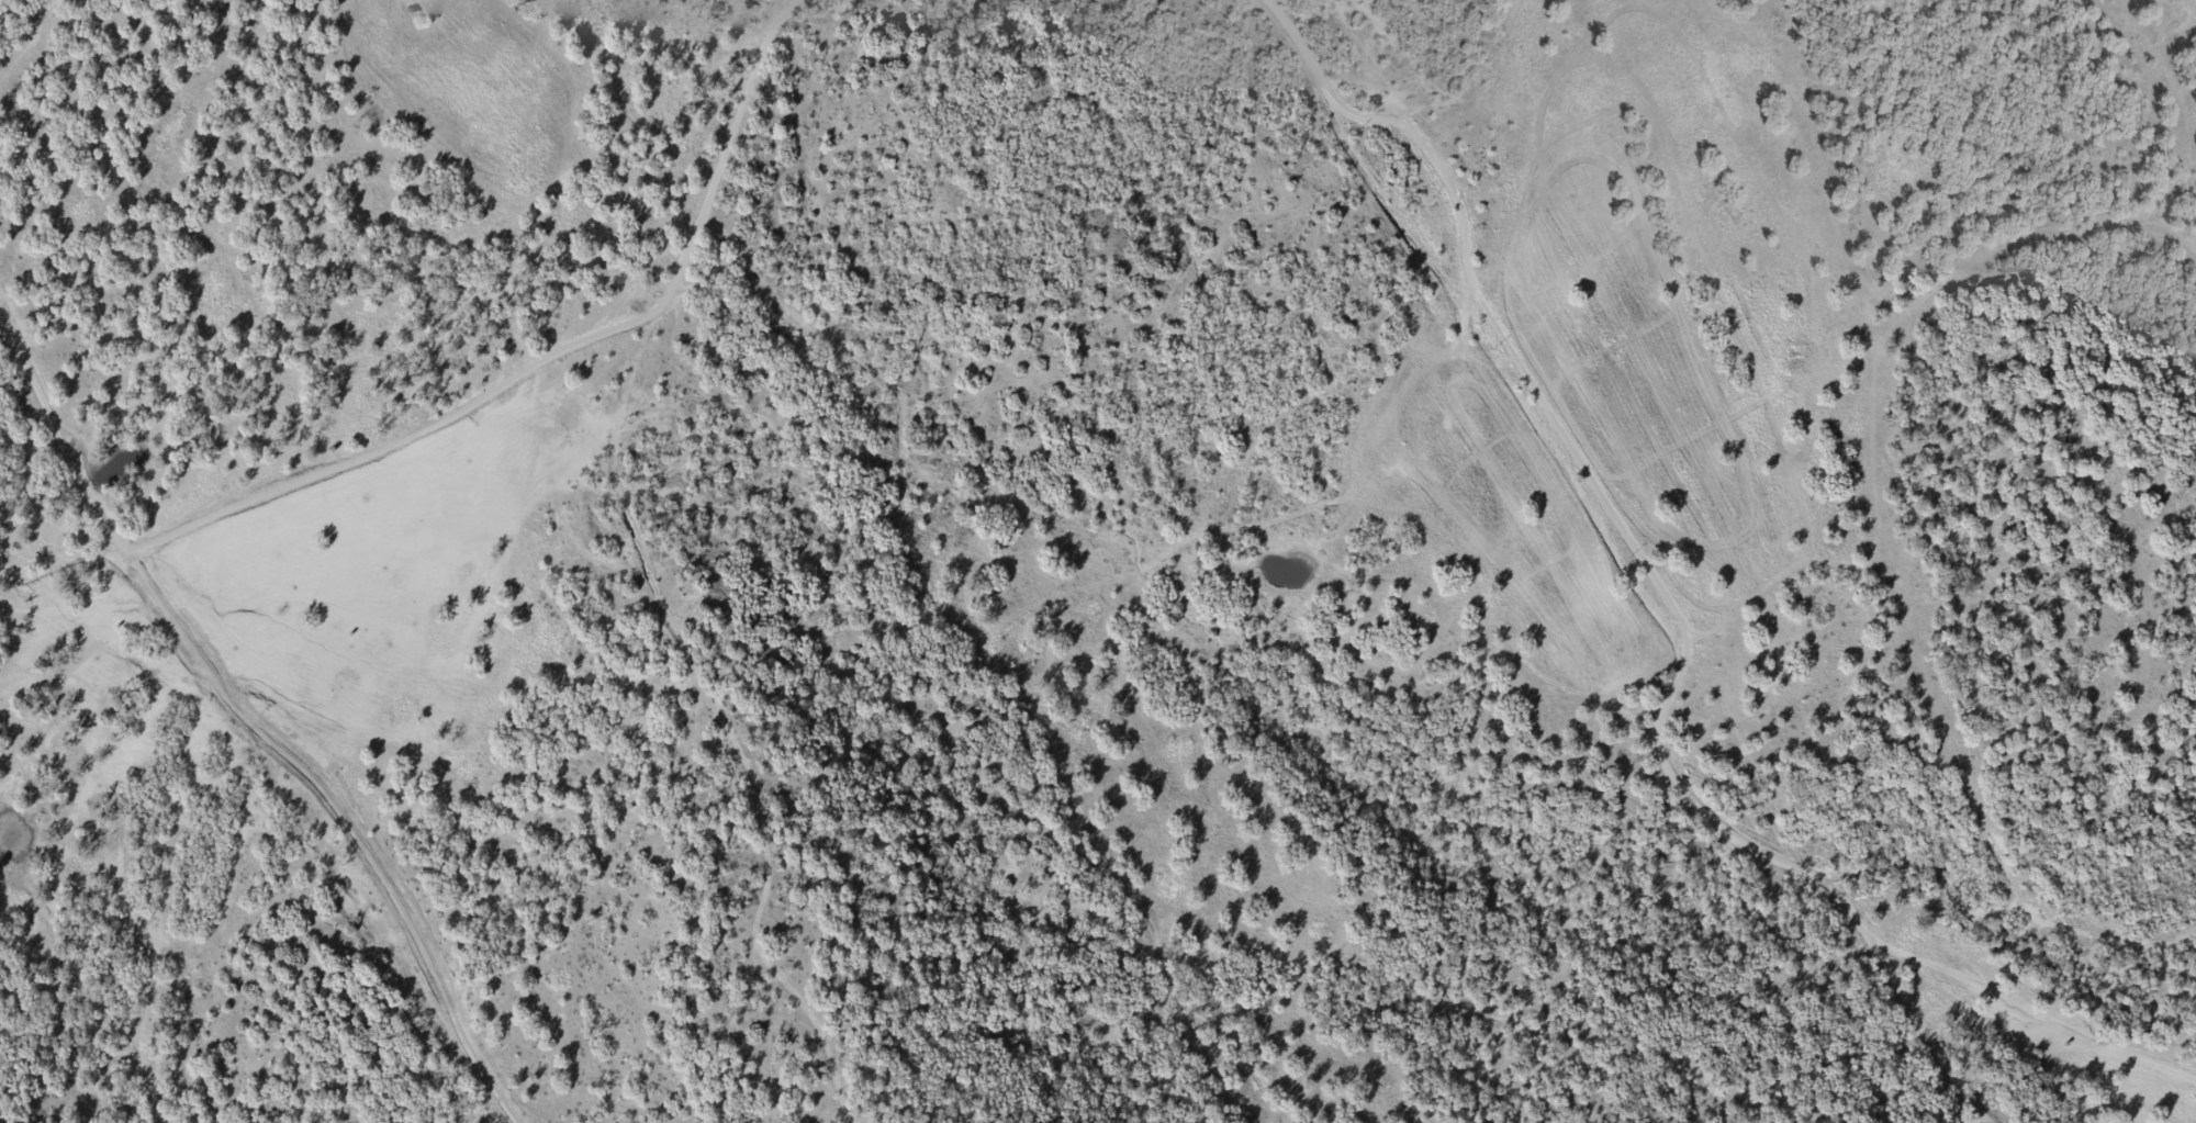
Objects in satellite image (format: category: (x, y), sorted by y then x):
road: (1532, 416)
road: (255, 720)

